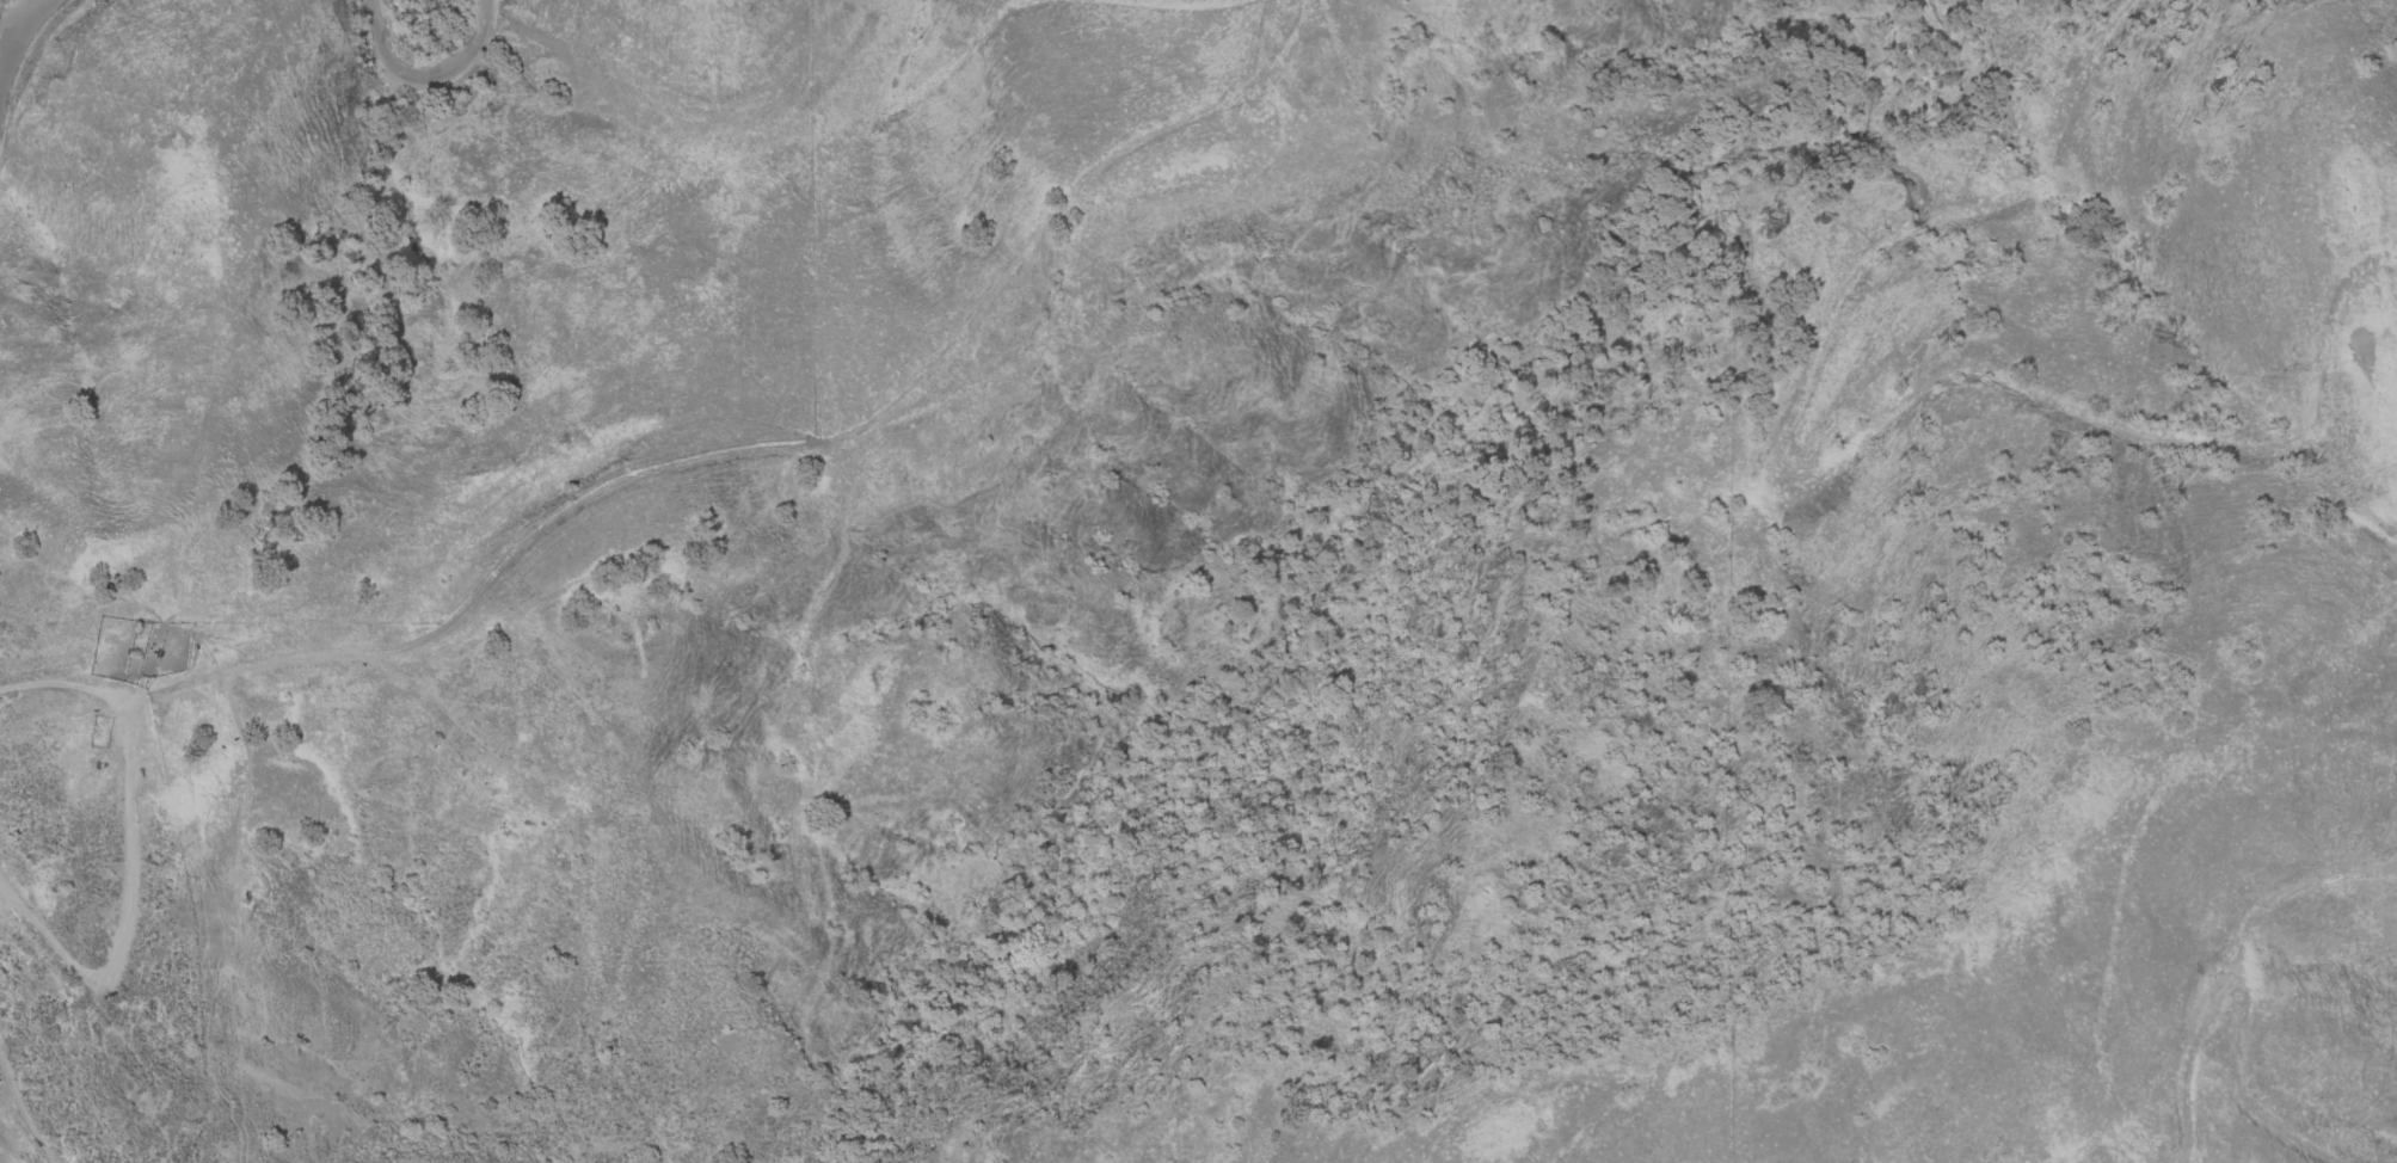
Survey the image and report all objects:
road: (14, 35)
road: (429, 79)
road: (1857, 436)
road: (86, 697)
road: (2229, 964)

